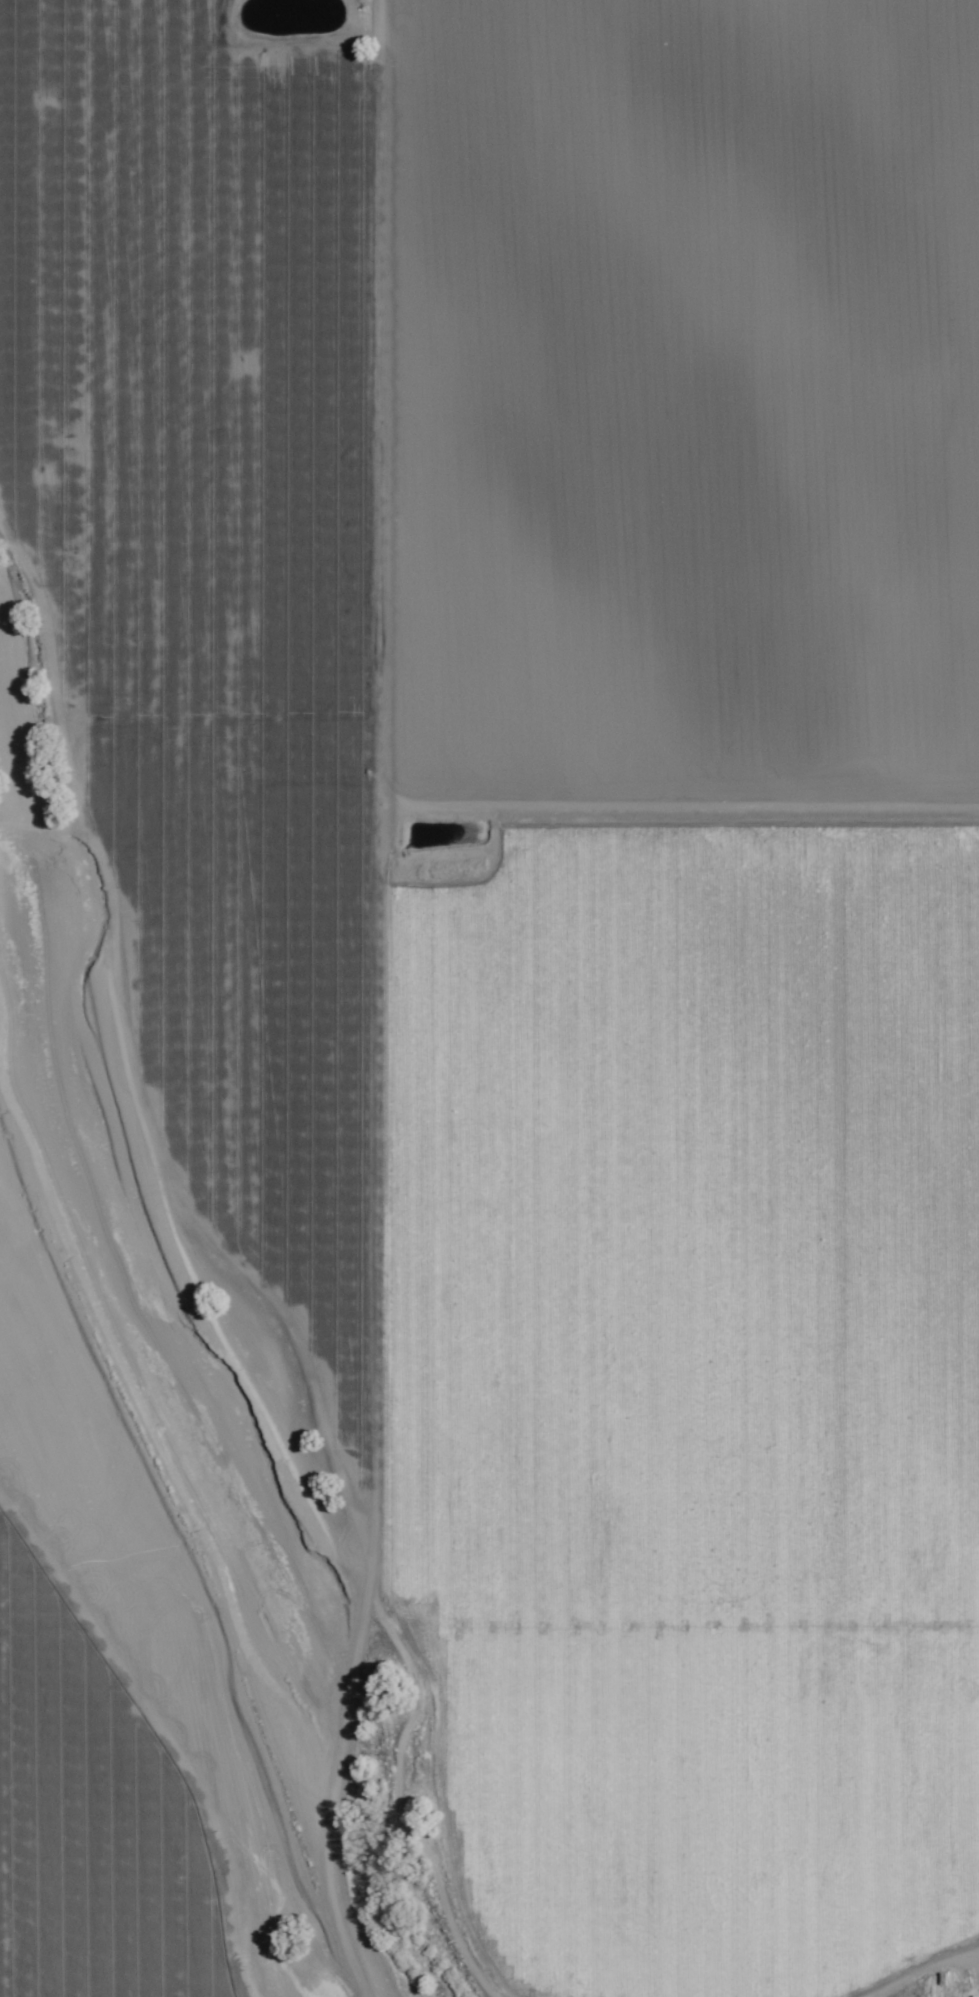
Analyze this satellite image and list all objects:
wastewater plant: (294, 20)
road: (489, 798)
crop: (554, 879)
road: (341, 1003)
road: (676, 1642)
crop: (96, 1814)

